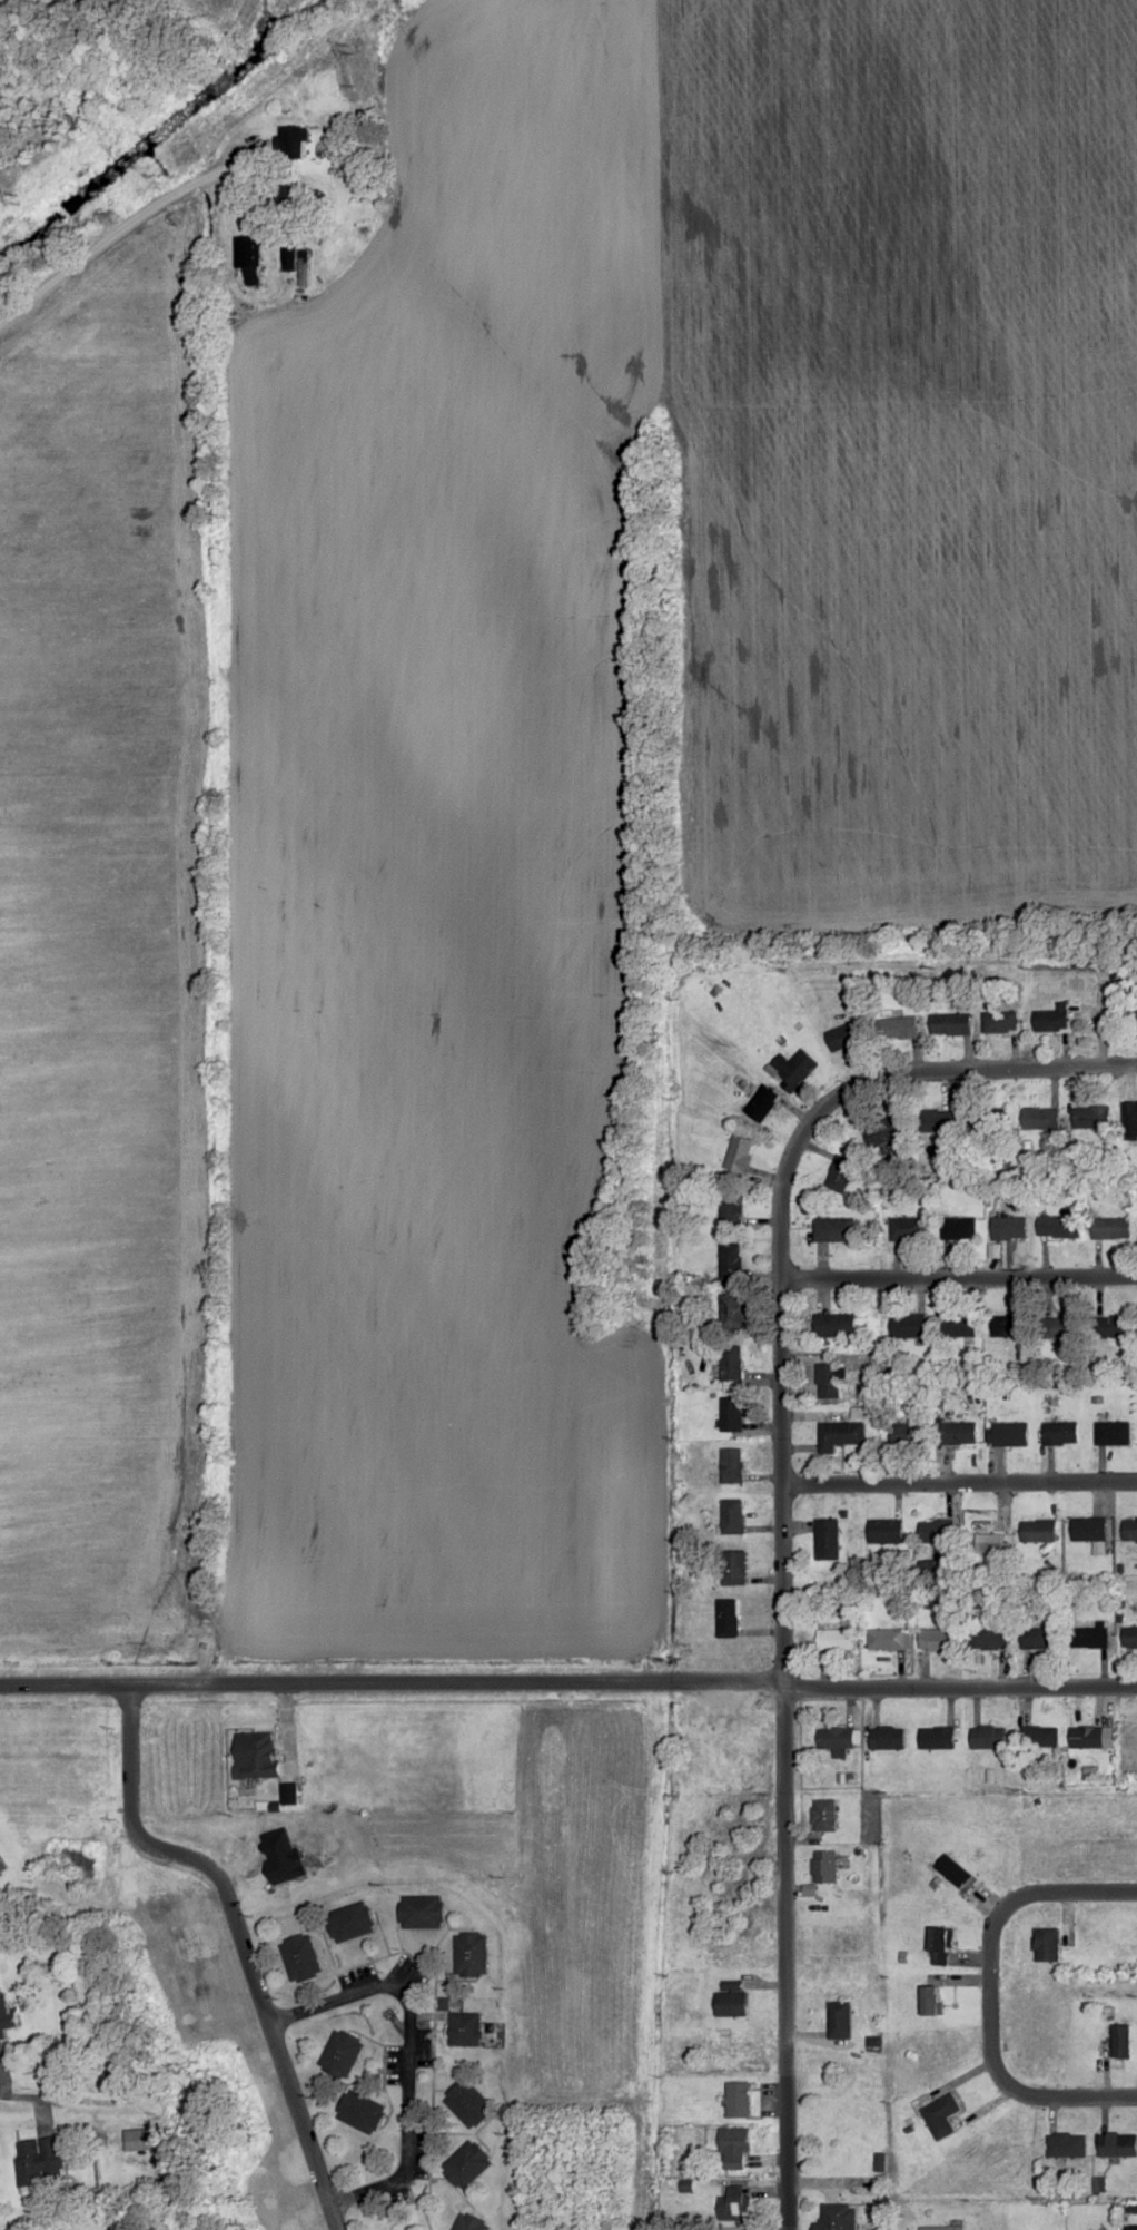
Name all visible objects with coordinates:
building: (294, 141)
road: (117, 245)
building: (288, 256)
building: (248, 257)
building: (304, 266)
building: (1134, 1018)
building: (1054, 1019)
building: (1001, 1021)
building: (951, 1023)
building: (900, 1028)
building: (844, 1037)
building: (795, 1068)
building: (763, 1103)
building: (1091, 1117)
building: (1040, 1118)
building: (990, 1119)
building: (938, 1120)
building: (887, 1130)
building: (739, 1155)
building: (840, 1173)
building: (731, 1208)
building: (1059, 1226)
building: (1111, 1227)
building: (908, 1228)
building: (959, 1228)
building: (1009, 1228)
road: (775, 1229)
building: (834, 1229)
building: (730, 1264)
road: (956, 1277)
building: (731, 1310)
building: (834, 1325)
building: (908, 1325)
building: (1009, 1325)
building: (959, 1326)
building: (1113, 1326)
building: (1059, 1327)
building: (731, 1363)
building: (829, 1381)
building: (731, 1414)
building: (913, 1433)
building: (959, 1433)
building: (1060, 1433)
building: (1113, 1433)
building: (1009, 1434)
building: (841, 1435)
building: (732, 1465)
road: (957, 1484)
building: (732, 1516)
building: (1089, 1529)
building: (1130, 1529)
building: (886, 1531)
building: (1038, 1531)
building: (939, 1535)
building: (827, 1539)
building: (733, 1568)
building: (729, 1618)
road: (90, 1628)
building: (1090, 1637)
building: (1130, 1637)
building: (988, 1638)
building: (1039, 1638)
building: (836, 1639)
building: (886, 1639)
building: (938, 1639)
road: (568, 1683)
building: (1039, 1736)
building: (989, 1737)
building: (1087, 1737)
building: (837, 1738)
building: (887, 1738)
building: (937, 1738)
building: (261, 1756)
building: (823, 1815)
building: (2, 1865)
building: (824, 1866)
building: (955, 1870)
building: (423, 1910)
building: (352, 1920)
road: (230, 1927)
building: (1047, 1944)
building: (940, 1945)
building: (472, 1953)
building: (301, 1956)
road: (782, 1958)
road: (989, 1995)
building: (732, 1998)
building: (932, 1998)
building: (6, 2016)
building: (840, 2018)
building: (464, 2024)
building: (1121, 2040)
road: (408, 2050)
building: (343, 2052)
building: (738, 2099)
building: (469, 2102)
building: (362, 2111)
building: (941, 2115)
building: (139, 2139)
building: (1118, 2143)
building: (1066, 2144)
building: (734, 2148)
building: (38, 2161)
building: (467, 2163)
building: (735, 2203)
building: (832, 2213)
road: (332, 2218)
building: (472, 2222)
building: (942, 2228)

